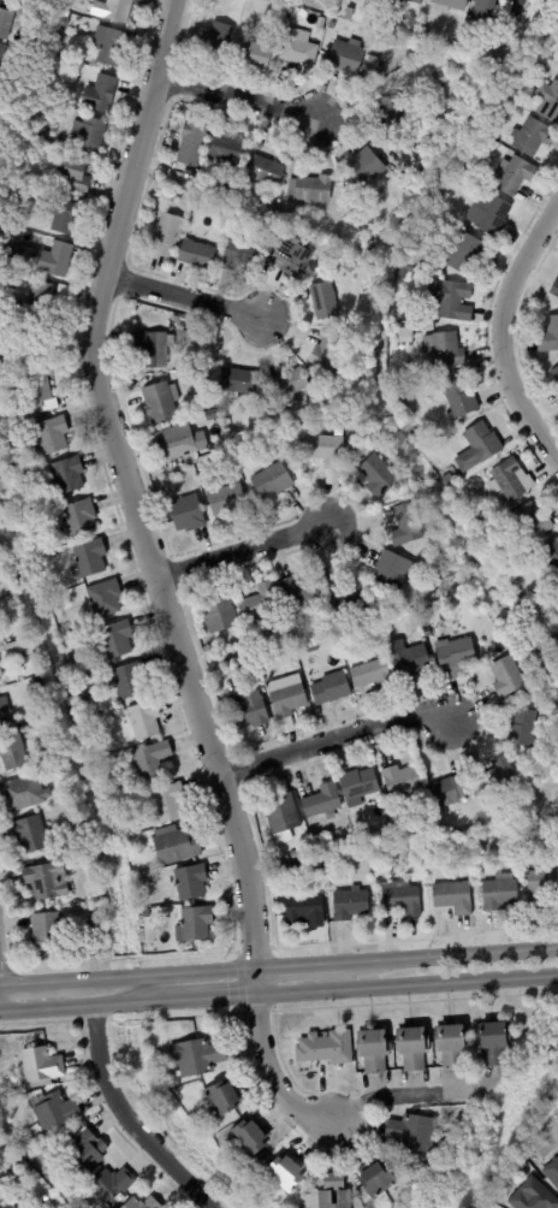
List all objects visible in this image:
building: (356, 1)
building: (405, 1)
building: (450, 5)
building: (114, 10)
building: (491, 10)
building: (349, 13)
building: (368, 18)
building: (275, 19)
building: (5, 23)
building: (320, 23)
building: (331, 25)
building: (343, 26)
building: (373, 40)
building: (215, 41)
building: (109, 46)
building: (298, 48)
building: (1, 52)
building: (253, 54)
building: (346, 57)
building: (373, 67)
building: (557, 72)
building: (443, 76)
building: (510, 87)
building: (99, 94)
road: (237, 97)
building: (547, 100)
building: (388, 113)
building: (87, 136)
building: (530, 136)
building: (191, 144)
building: (225, 150)
building: (366, 166)
building: (464, 166)
building: (265, 172)
building: (73, 173)
building: (516, 176)
building: (189, 186)
building: (230, 189)
building: (309, 190)
building: (17, 196)
building: (271, 207)
building: (61, 215)
building: (492, 217)
building: (275, 224)
building: (6, 235)
building: (166, 236)
building: (271, 244)
building: (331, 250)
building: (20, 253)
building: (196, 254)
building: (468, 254)
building: (241, 255)
building: (291, 257)
building: (55, 259)
building: (349, 266)
building: (399, 290)
building: (554, 290)
road: (180, 297)
building: (451, 300)
building: (42, 301)
building: (323, 303)
building: (174, 320)
building: (340, 331)
road: (500, 332)
building: (408, 333)
building: (550, 336)
building: (43, 348)
building: (154, 349)
building: (443, 351)
building: (328, 356)
building: (411, 374)
building: (556, 375)
building: (237, 383)
building: (130, 385)
building: (289, 385)
building: (557, 390)
building: (31, 397)
building: (459, 398)
building: (161, 402)
building: (208, 403)
building: (210, 416)
building: (29, 426)
building: (339, 432)
building: (52, 436)
building: (274, 439)
building: (180, 442)
building: (479, 445)
building: (326, 454)
building: (67, 475)
building: (376, 476)
building: (512, 480)
building: (272, 481)
building: (449, 481)
road: (127, 484)
building: (227, 502)
building: (186, 514)
building: (77, 517)
building: (532, 523)
building: (405, 527)
building: (429, 535)
road: (242, 551)
building: (551, 556)
building: (90, 558)
building: (393, 574)
building: (457, 574)
building: (557, 585)
building: (297, 592)
building: (103, 599)
building: (426, 599)
building: (349, 600)
building: (261, 603)
building: (219, 615)
building: (368, 626)
building: (115, 643)
building: (554, 644)
building: (311, 649)
building: (17, 650)
building: (557, 656)
building: (408, 658)
building: (455, 658)
building: (70, 661)
building: (372, 675)
building: (230, 676)
building: (507, 679)
building: (127, 681)
building: (0, 682)
building: (34, 687)
building: (328, 688)
building: (286, 697)
building: (250, 713)
building: (1, 722)
building: (144, 722)
building: (522, 729)
road: (333, 739)
building: (13, 752)
building: (150, 764)
building: (497, 777)
building: (402, 780)
building: (358, 787)
building: (450, 793)
building: (23, 794)
building: (119, 803)
building: (322, 803)
building: (426, 804)
building: (165, 805)
building: (281, 811)
building: (530, 818)
building: (441, 819)
building: (388, 829)
building: (538, 829)
building: (30, 836)
building: (174, 846)
building: (343, 854)
building: (293, 855)
building: (79, 857)
building: (130, 857)
building: (278, 859)
building: (191, 883)
building: (47, 886)
building: (541, 888)
building: (499, 895)
building: (451, 899)
building: (402, 900)
building: (350, 905)
building: (305, 913)
building: (146, 914)
building: (196, 924)
building: (94, 928)
building: (43, 934)
road: (452, 954)
road: (301, 964)
road: (196, 971)
road: (123, 976)
road: (54, 979)
road: (256, 981)
road: (408, 984)
road: (197, 999)
road: (124, 1003)
road: (54, 1006)
building: (494, 1042)
building: (451, 1046)
building: (326, 1048)
building: (412, 1048)
building: (374, 1050)
building: (197, 1055)
building: (41, 1066)
road: (271, 1073)
building: (222, 1097)
road: (402, 1097)
building: (53, 1111)
road: (127, 1119)
building: (412, 1132)
building: (250, 1136)
building: (36, 1141)
building: (59, 1147)
building: (4, 1148)
building: (87, 1153)
building: (522, 1166)
building: (552, 1171)
building: (286, 1172)
building: (29, 1174)
building: (375, 1177)
building: (111, 1184)
building: (334, 1192)
building: (533, 1196)
building: (6, 1198)
building: (43, 1201)
building: (143, 1203)
building: (81, 1206)

